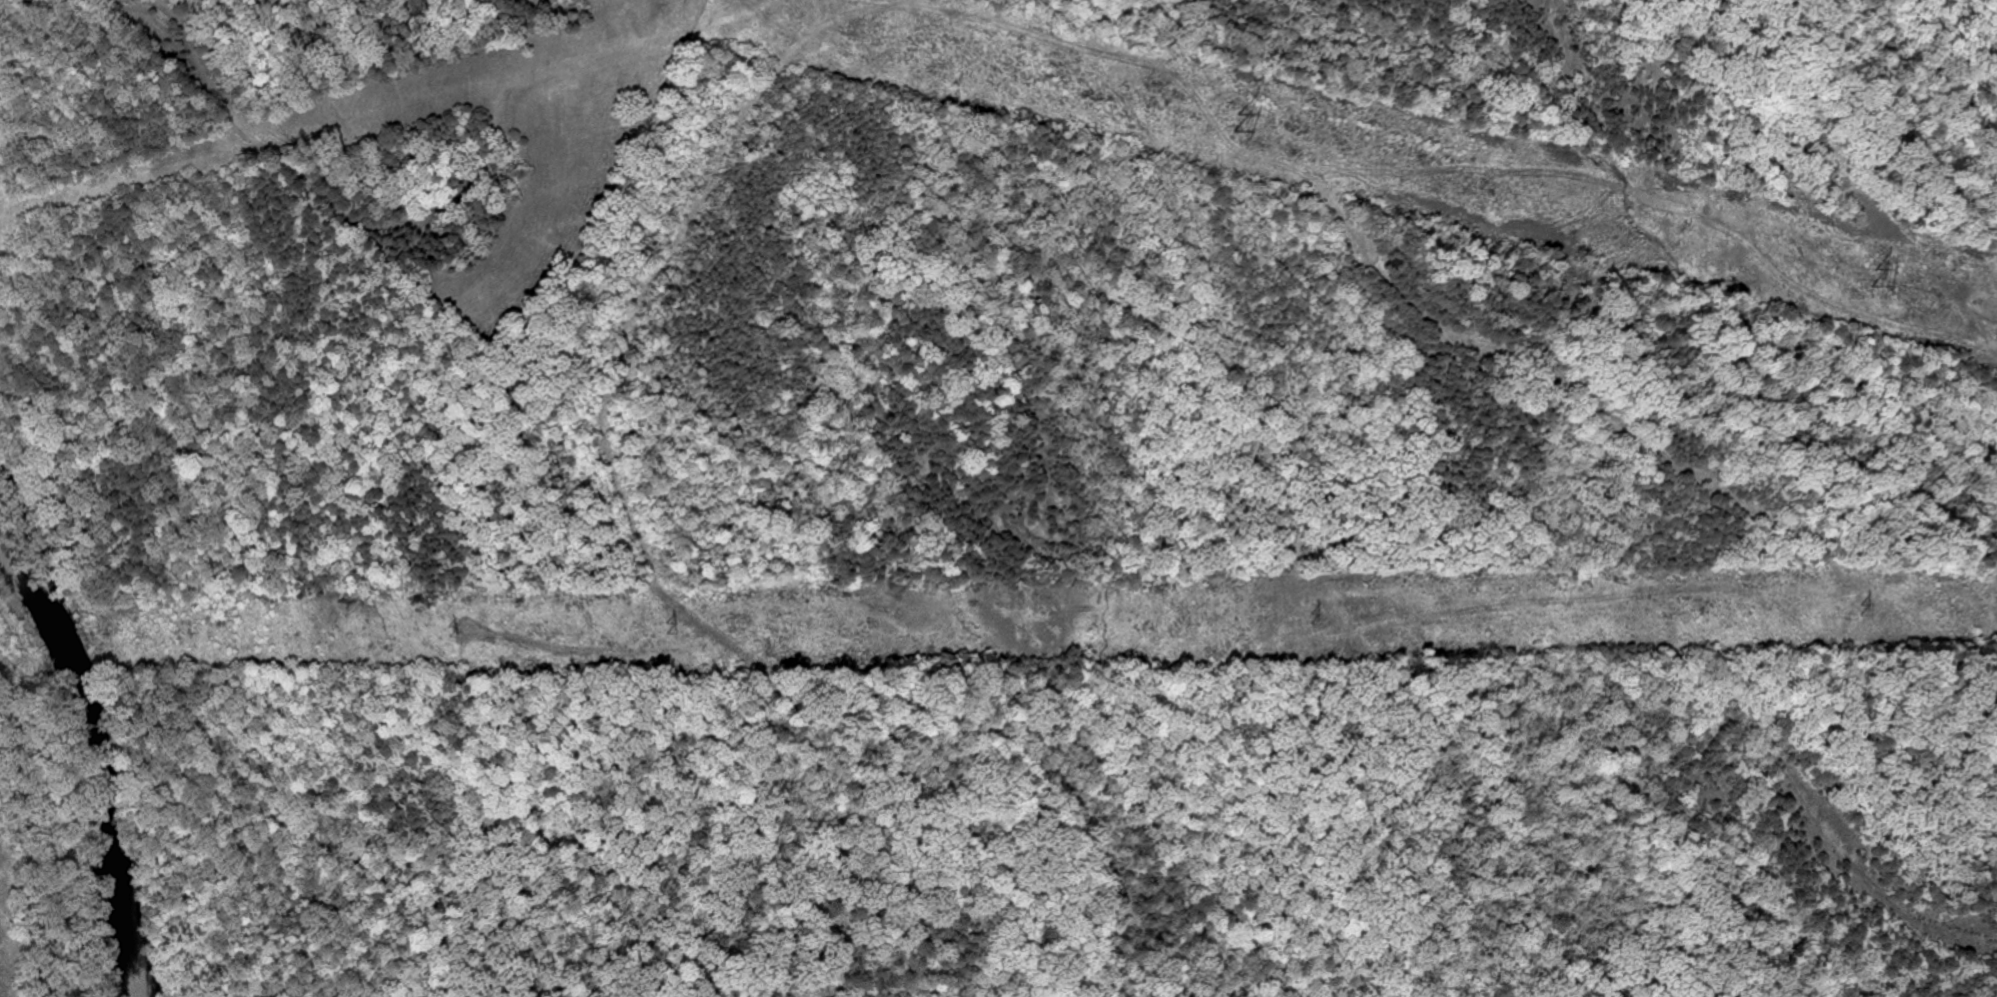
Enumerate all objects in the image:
power tower: (1234, 120)
power tower: (1876, 275)
power tower: (1875, 608)
power tower: (1312, 617)
power tower: (667, 627)
power tower: (451, 631)

